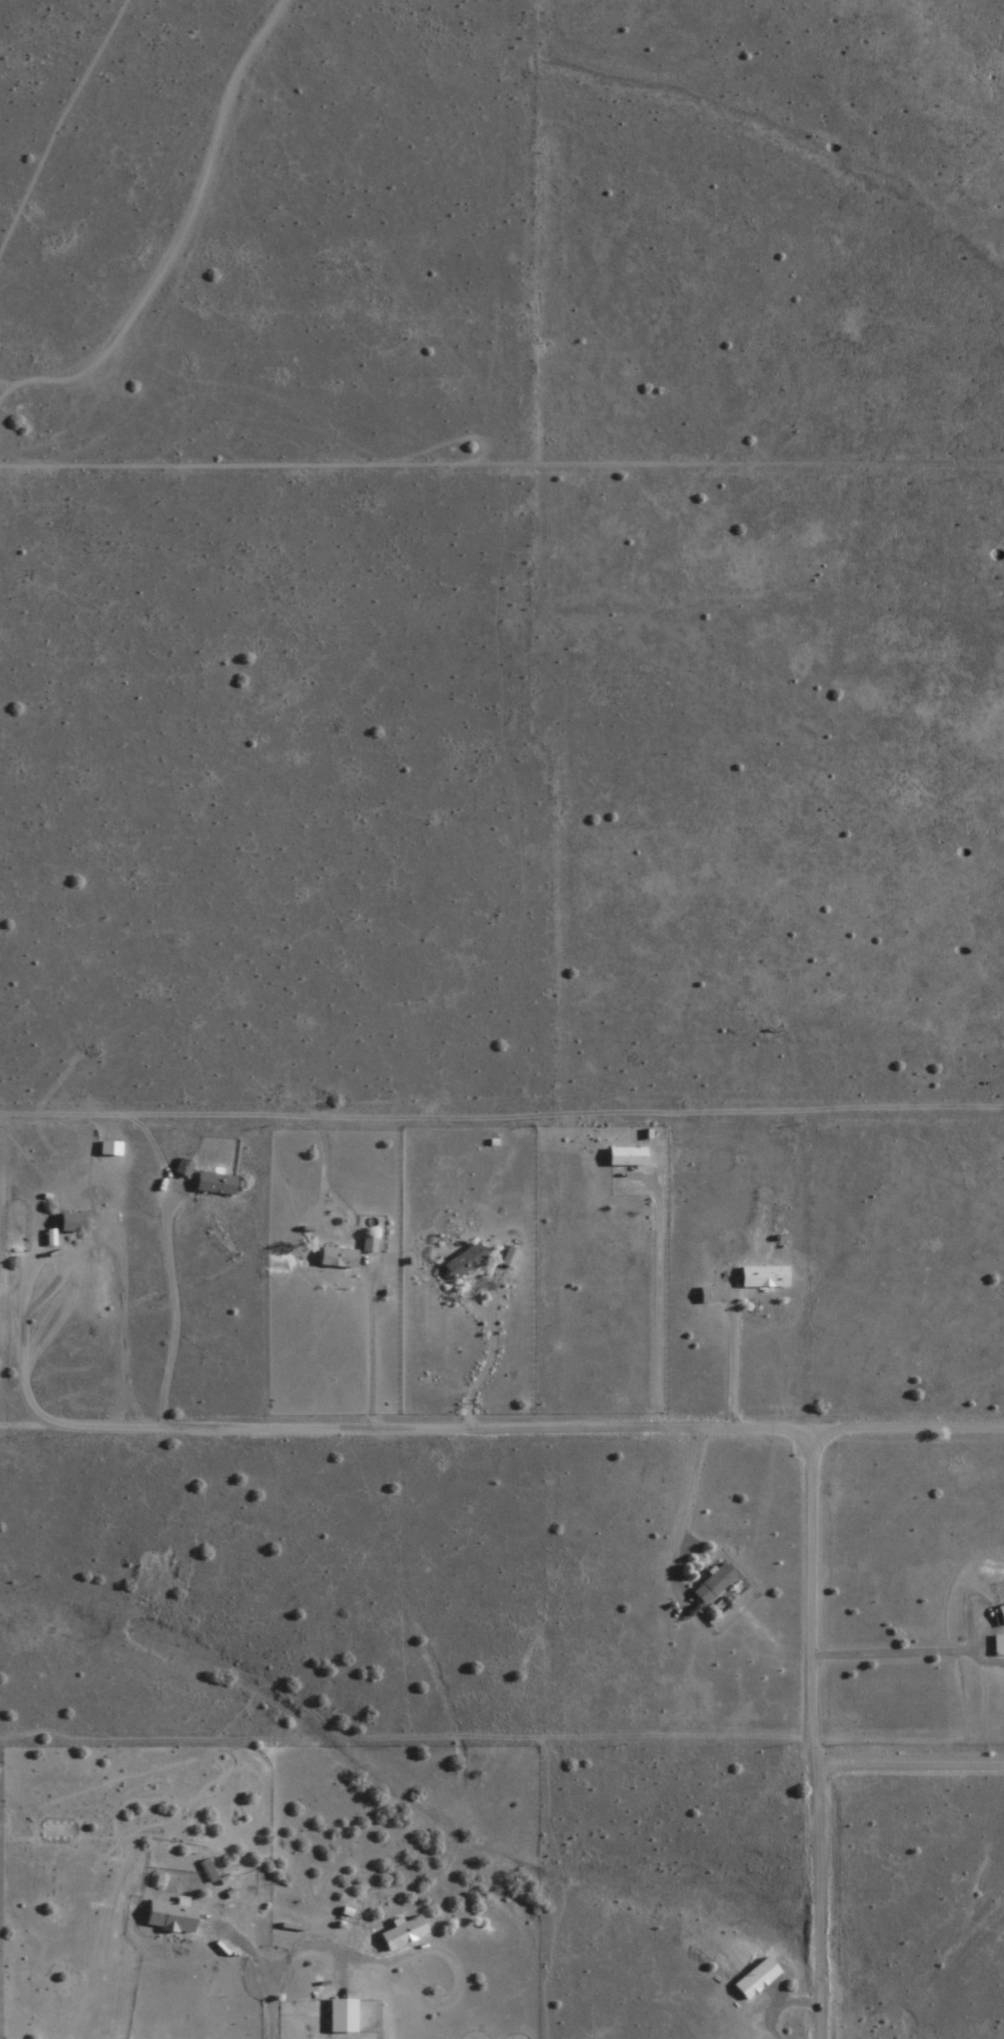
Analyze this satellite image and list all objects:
building: (624, 1158)
building: (184, 1171)
building: (213, 1186)
building: (367, 1247)
building: (336, 1259)
building: (463, 1263)
building: (762, 1279)
road: (415, 1430)
road: (907, 1431)
building: (712, 1586)
building: (1000, 1615)
building: (998, 1646)
road: (812, 1735)
road: (908, 1764)
building: (167, 1916)
building: (400, 1935)
building: (755, 1980)
building: (340, 2017)

